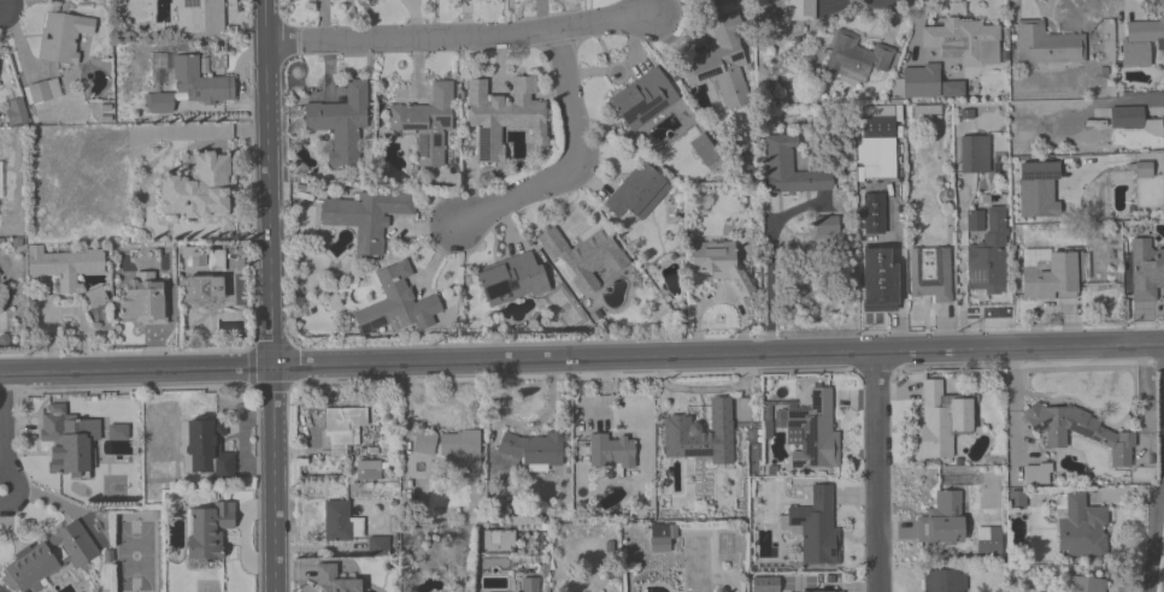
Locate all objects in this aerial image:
building: (799, 8)
building: (200, 16)
road: (463, 37)
building: (66, 39)
building: (963, 40)
building: (1140, 40)
building: (1046, 43)
building: (858, 51)
building: (723, 59)
building: (919, 79)
building: (200, 81)
building: (952, 88)
building: (43, 91)
building: (642, 95)
road: (1129, 102)
building: (159, 105)
building: (964, 112)
building: (16, 113)
building: (501, 114)
building: (1125, 116)
building: (1162, 122)
building: (340, 123)
building: (425, 123)
building: (874, 141)
building: (972, 153)
road: (578, 161)
building: (789, 166)
building: (1142, 168)
building: (199, 188)
building: (1036, 188)
building: (636, 193)
building: (871, 212)
building: (365, 215)
building: (987, 255)
building: (581, 256)
building: (718, 262)
road: (770, 267)
building: (1145, 268)
building: (69, 270)
building: (929, 272)
building: (1051, 276)
building: (512, 278)
building: (877, 278)
building: (205, 289)
road: (270, 295)
building: (143, 298)
building: (395, 302)
road: (581, 359)
road: (1023, 365)
road: (1142, 401)
road: (1015, 414)
road: (406, 419)
building: (941, 421)
building: (342, 422)
building: (1078, 431)
building: (813, 432)
building: (700, 436)
road: (4, 437)
building: (67, 439)
building: (424, 443)
building: (462, 446)
building: (534, 449)
building: (208, 450)
building: (612, 451)
building: (369, 472)
road: (876, 472)
building: (1037, 474)
building: (336, 520)
building: (941, 520)
building: (1080, 527)
building: (817, 529)
building: (210, 531)
building: (662, 537)
road: (1154, 541)
building: (988, 543)
building: (378, 549)
building: (53, 558)
building: (335, 580)
building: (945, 580)
building: (530, 585)
building: (1087, 585)
building: (718, 591)

